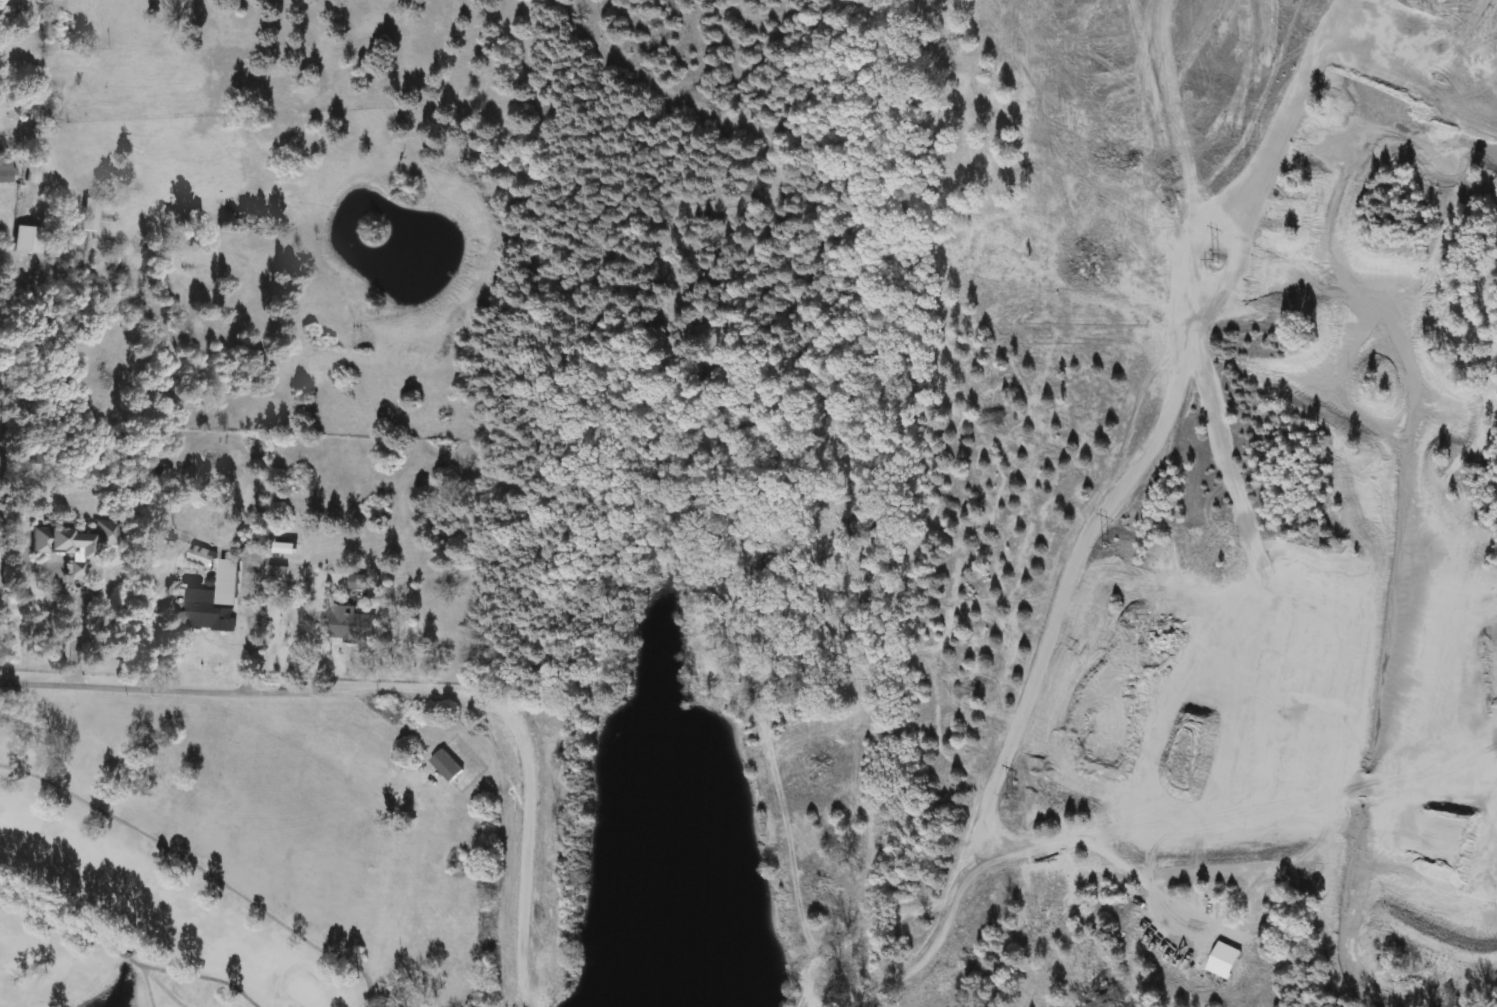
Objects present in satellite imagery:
building: (6, 169)
building: (71, 186)
building: (74, 538)
building: (203, 557)
building: (75, 569)
road: (63, 593)
building: (208, 612)
building: (350, 627)
road: (244, 629)
road: (396, 684)
building: (448, 766)

